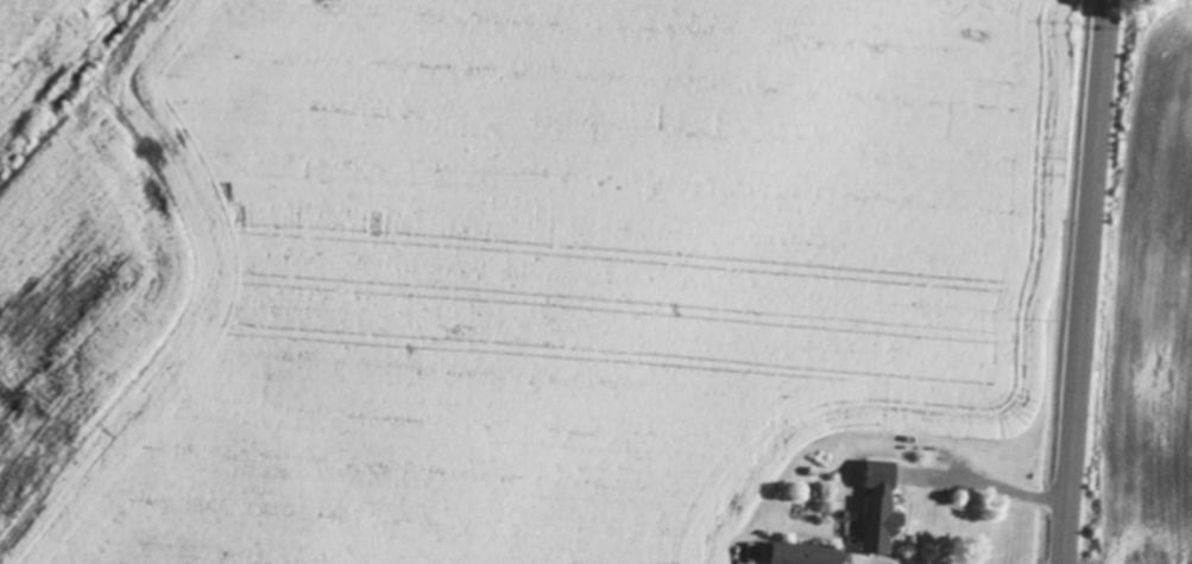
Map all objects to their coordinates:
road: (1080, 281)
building: (878, 509)
building: (805, 555)

